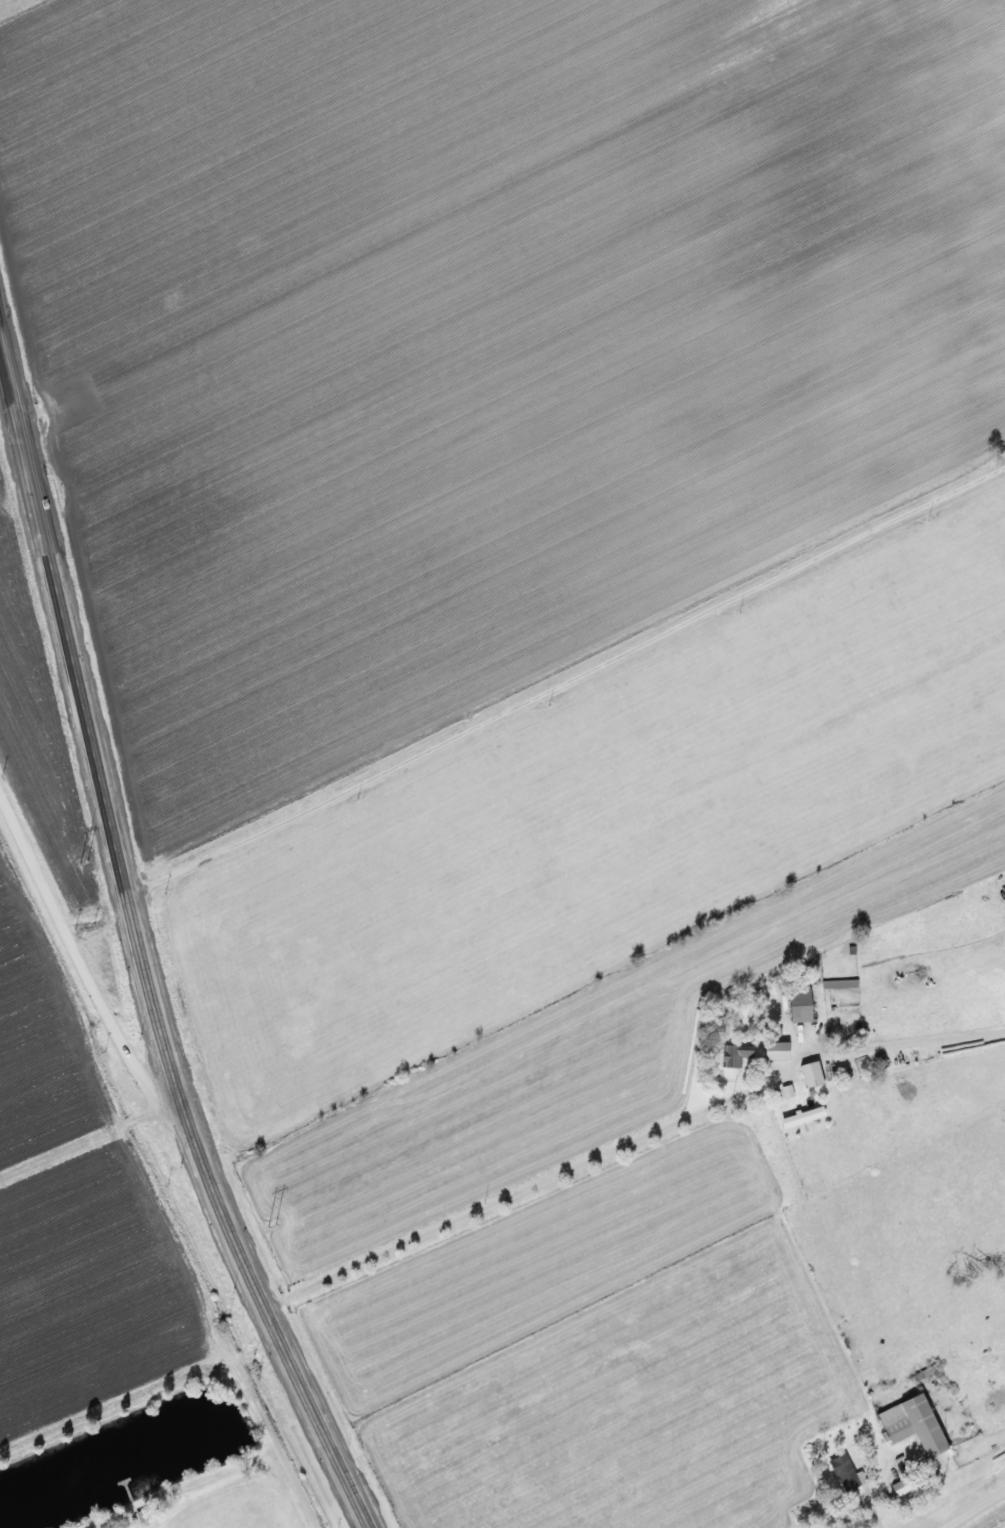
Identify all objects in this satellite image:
road: (566, 680)
power tower: (85, 860)
road: (139, 952)
road: (76, 956)
building: (846, 983)
building: (803, 1005)
building: (737, 1054)
building: (814, 1074)
building: (805, 1117)
road: (88, 1136)
road: (512, 1198)
power tower: (272, 1223)
building: (917, 1424)
building: (903, 1487)
road: (877, 1497)
road: (973, 1509)

